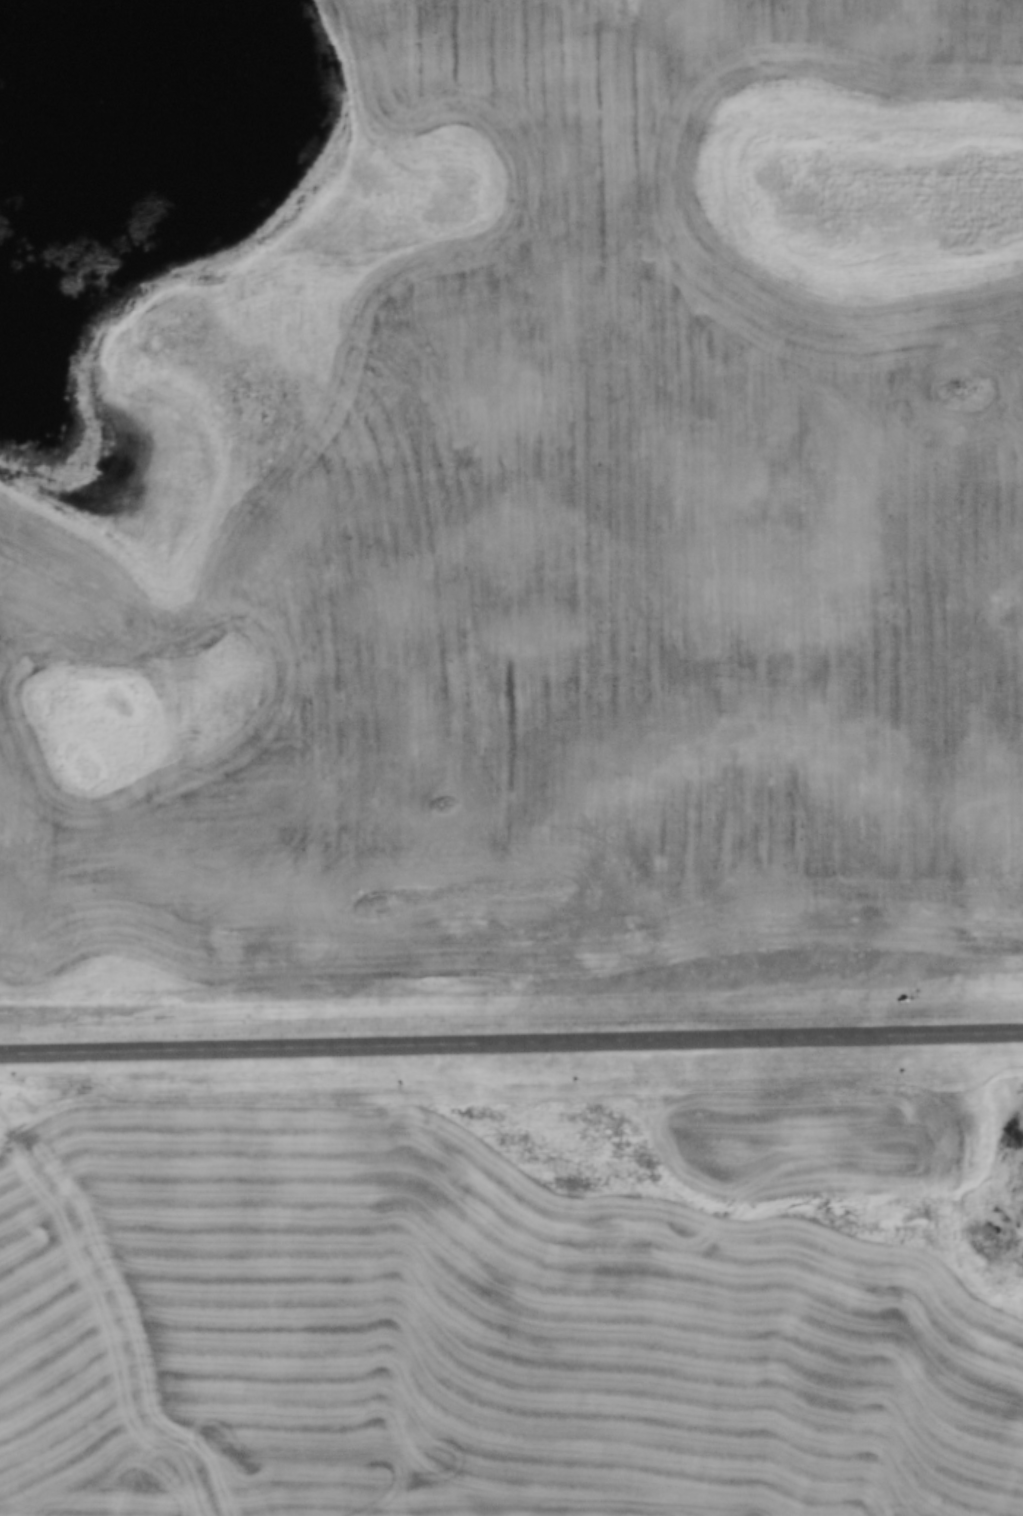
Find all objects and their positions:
road: (511, 1045)

